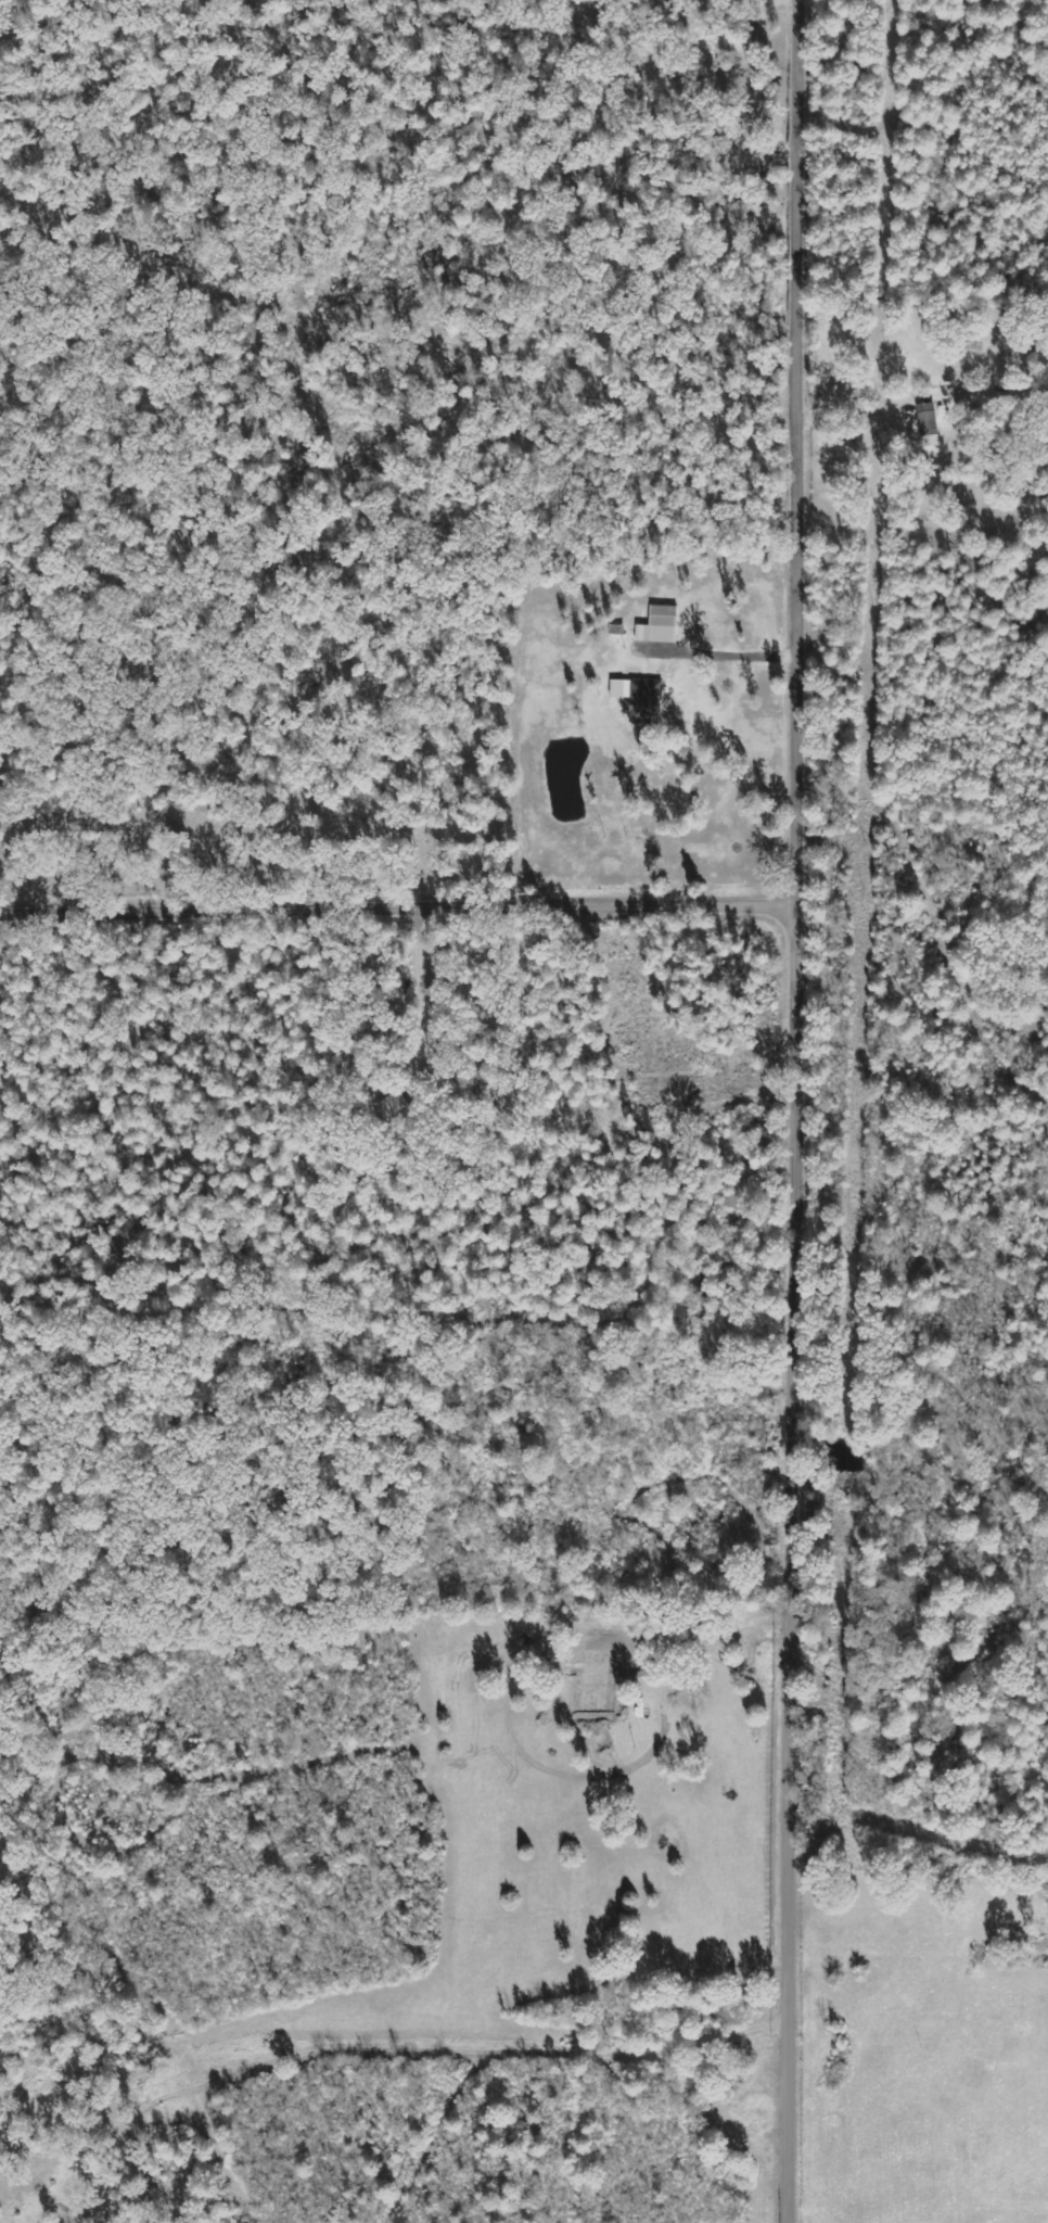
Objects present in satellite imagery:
building: (928, 424)
building: (656, 624)
building: (636, 697)
road: (401, 907)
road: (803, 1111)

